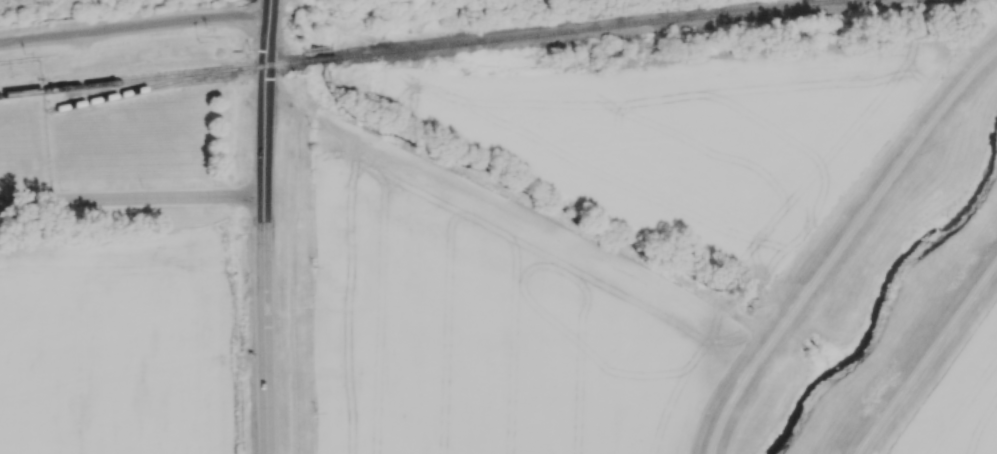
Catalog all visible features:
road: (133, 24)
railway: (591, 30)
railway: (319, 59)
railway: (274, 63)
railway: (122, 81)
railway: (145, 88)
crop: (683, 130)
road: (130, 198)
road: (261, 226)
road: (843, 245)
crop: (486, 323)
road: (927, 356)
crop: (965, 406)

